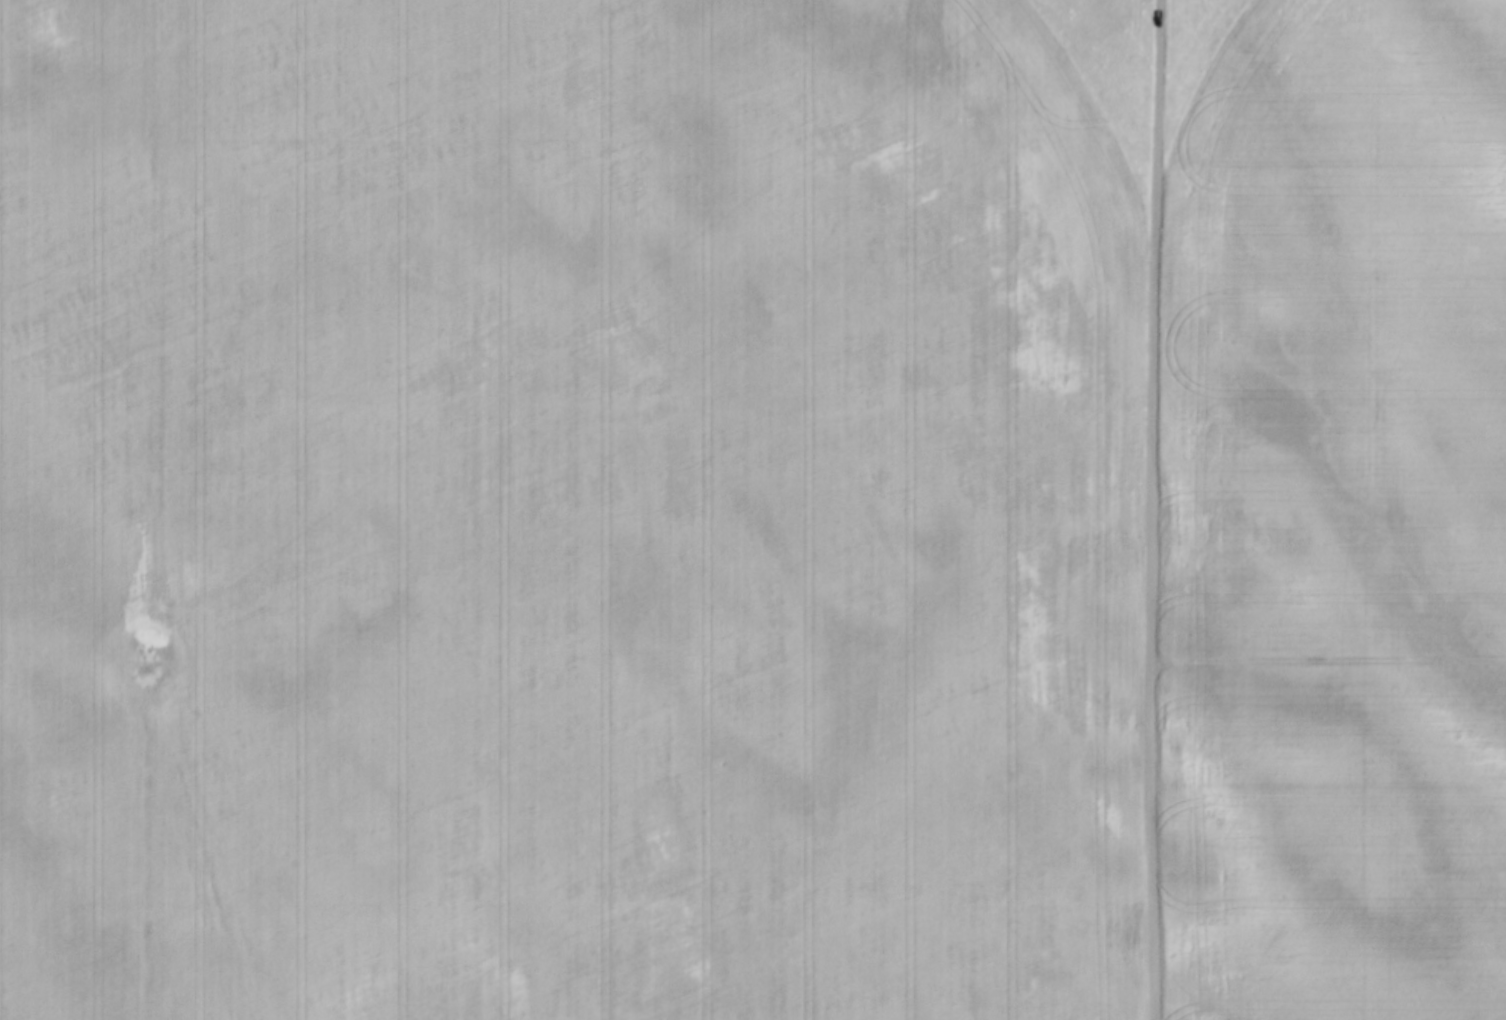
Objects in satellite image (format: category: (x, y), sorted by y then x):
road: (1150, 510)

